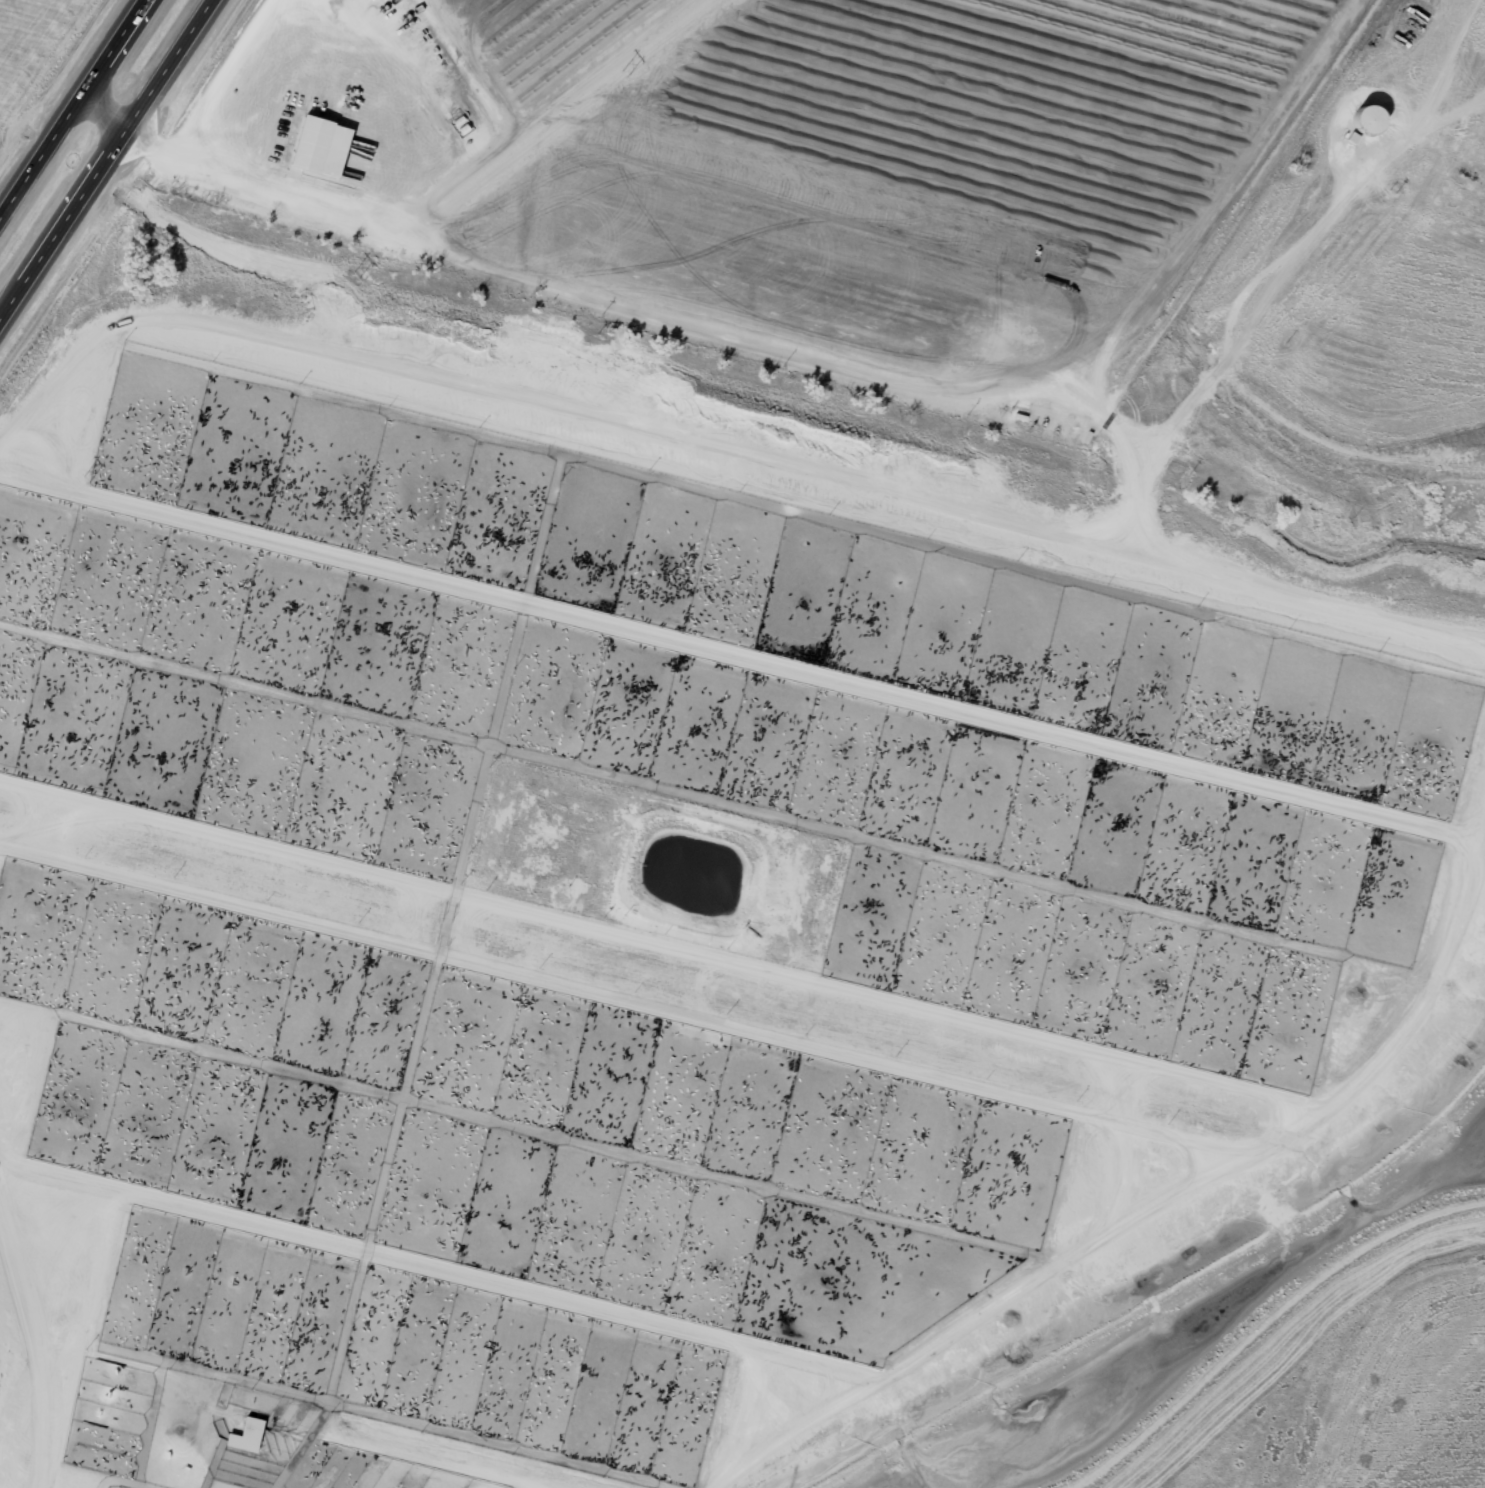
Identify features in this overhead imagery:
power tower: (627, 75)
road: (70, 105)
building: (328, 147)
road: (109, 165)
power tower: (357, 279)
road: (838, 365)
power tower: (87, 482)
building: (253, 1437)

